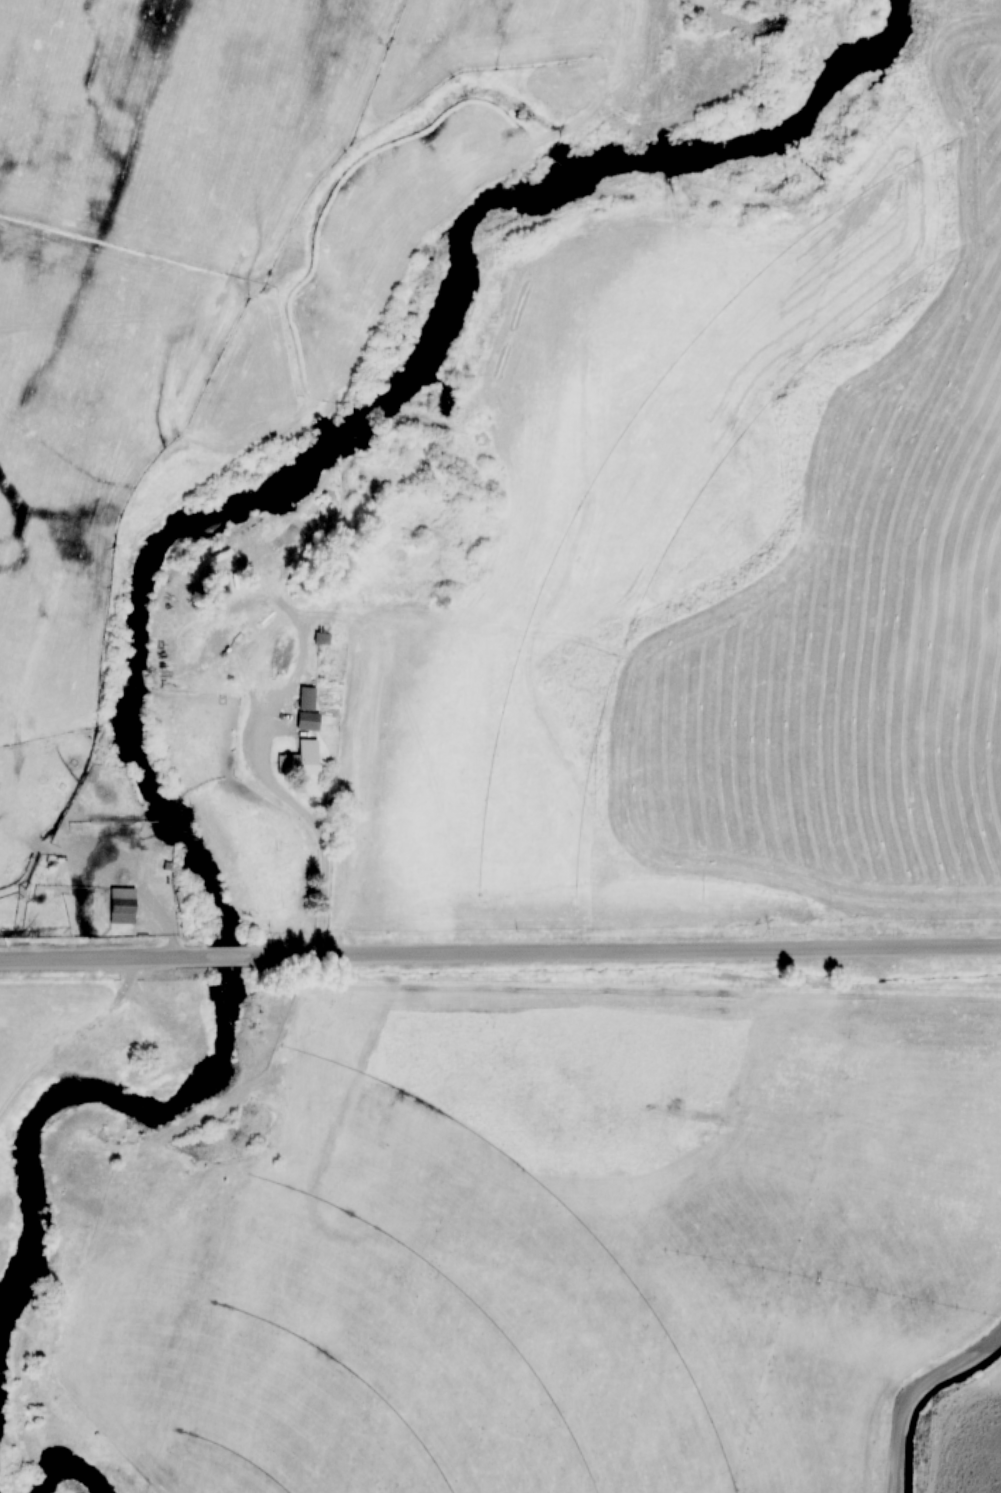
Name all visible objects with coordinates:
river: (166, 540)
building: (324, 637)
building: (310, 709)
building: (302, 758)
building: (125, 905)
road: (622, 951)
road: (229, 957)
road: (107, 958)
river: (64, 1478)

